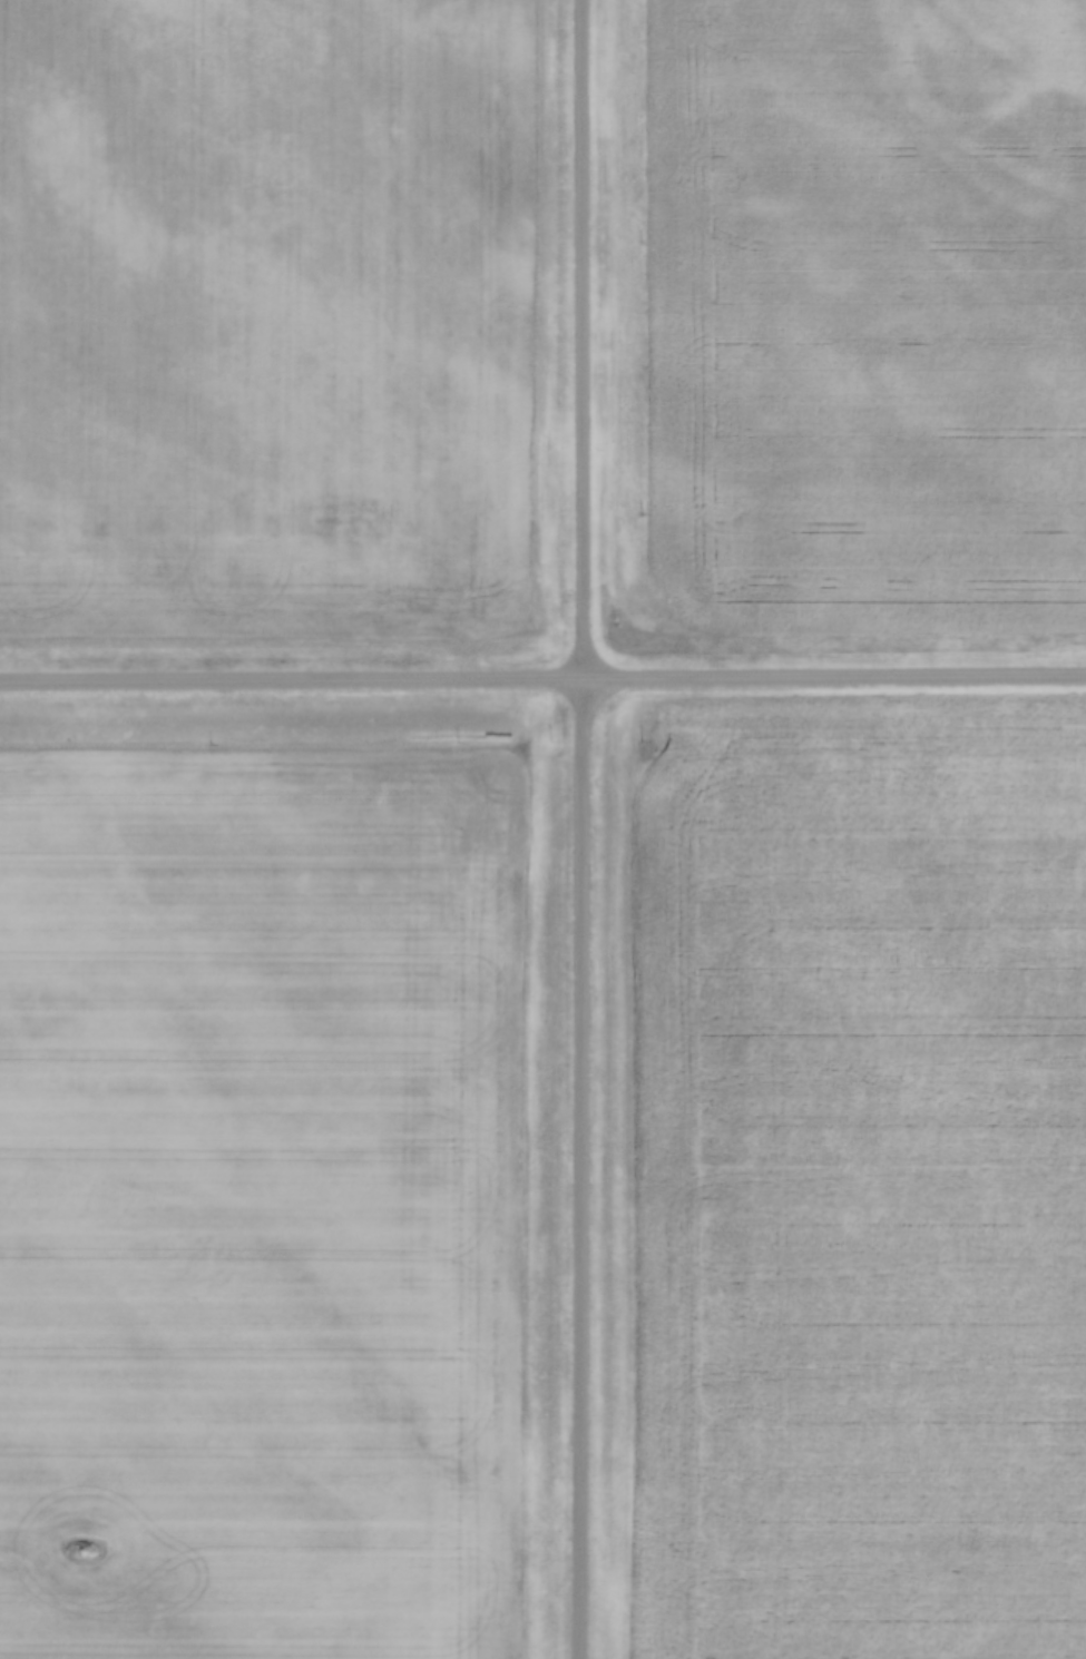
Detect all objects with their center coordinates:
road: (542, 680)
road: (583, 828)

